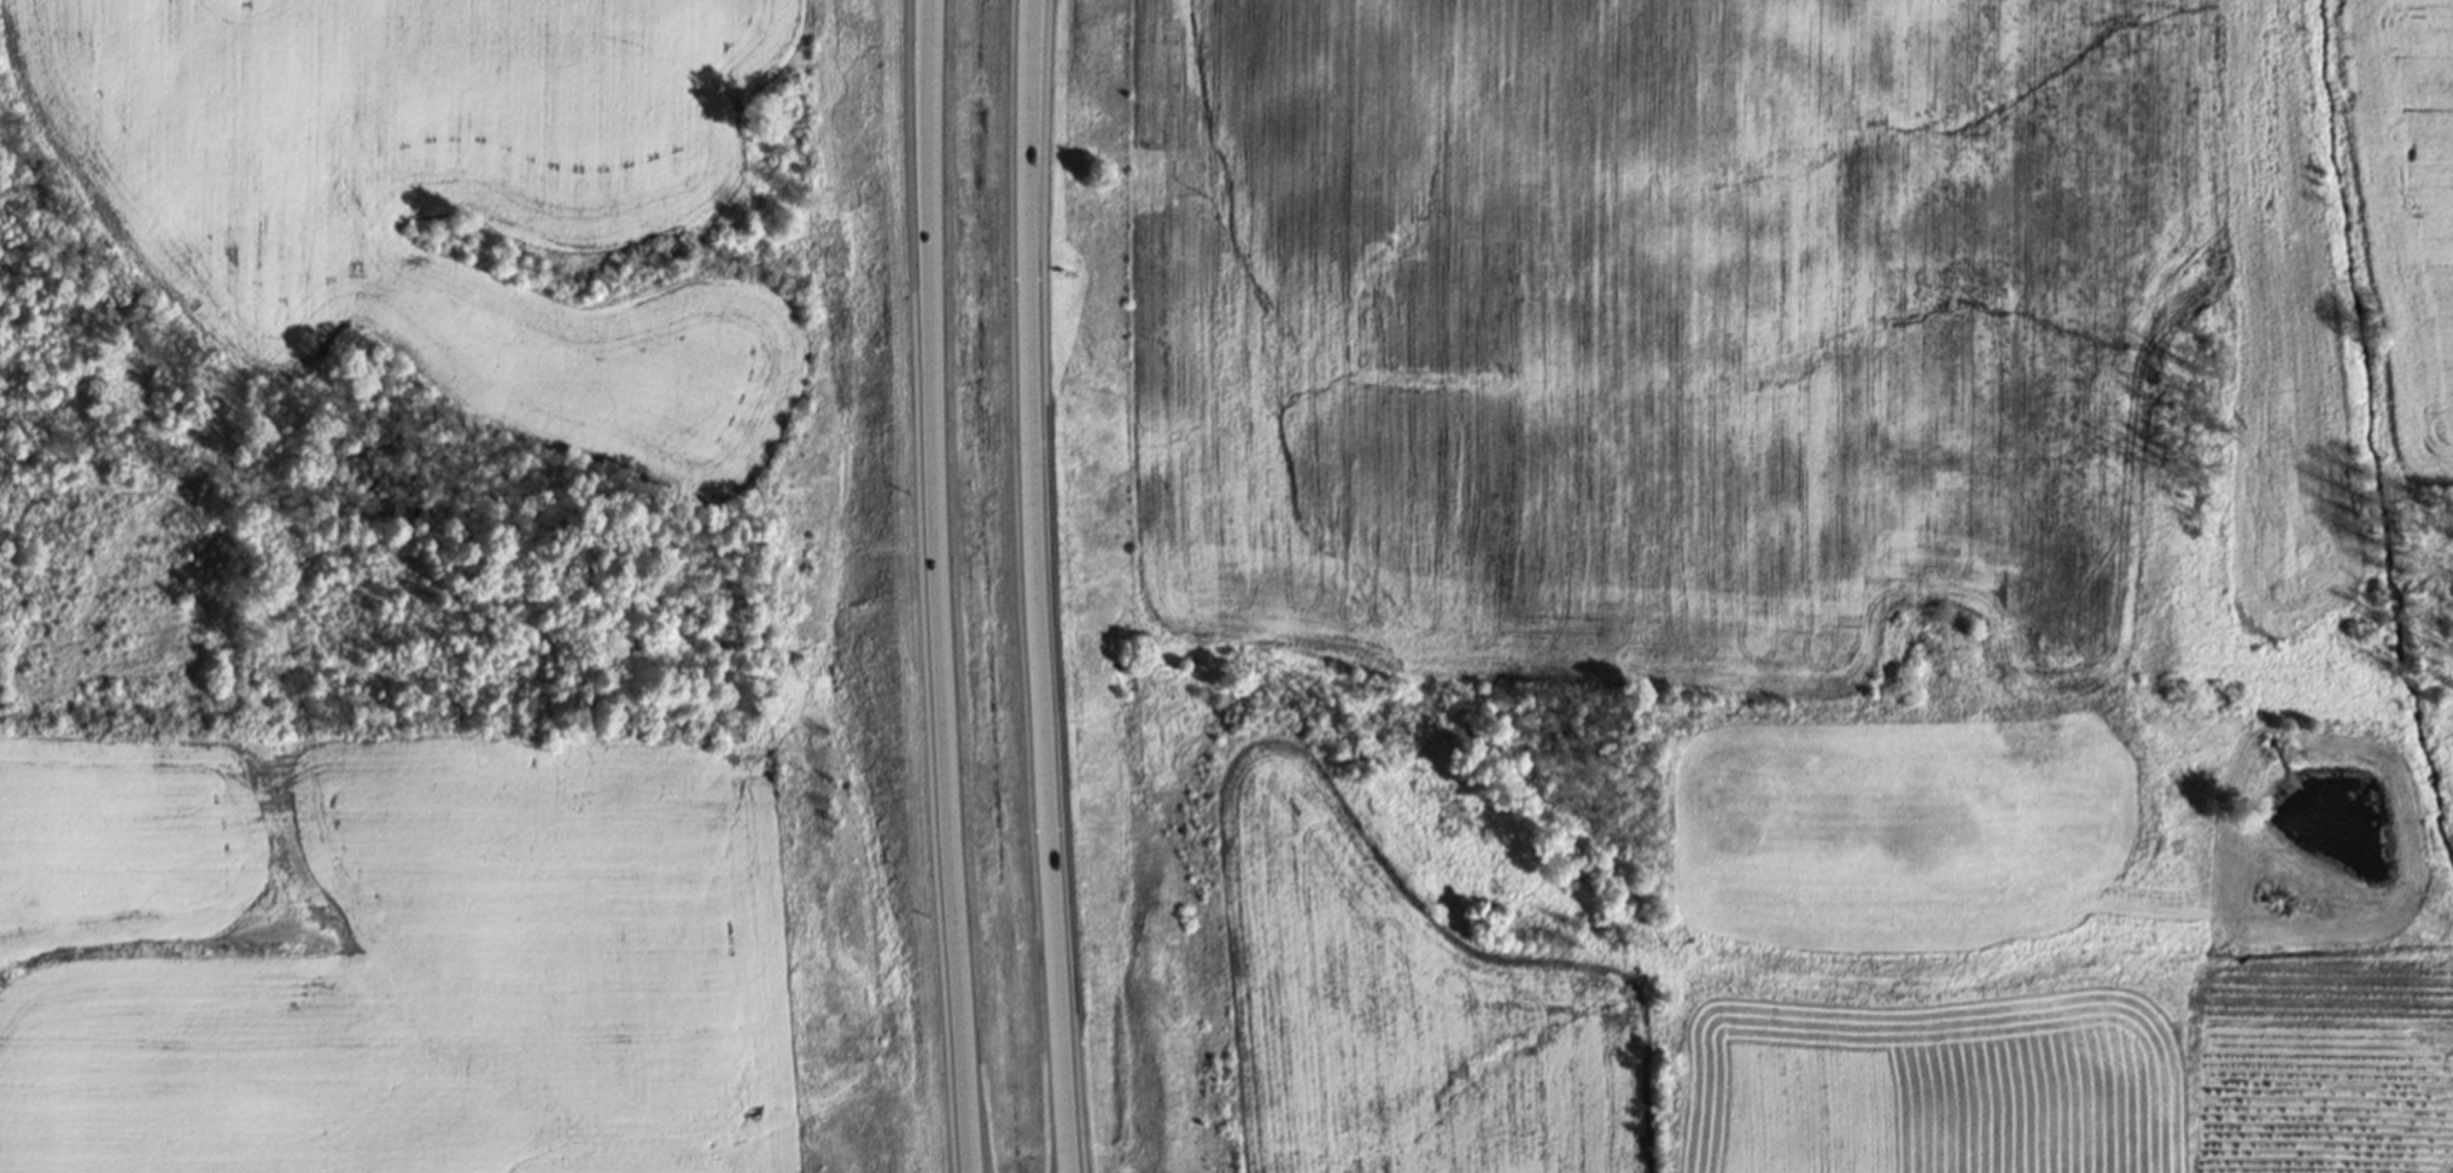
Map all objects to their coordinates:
road: (947, 586)
road: (1065, 586)

